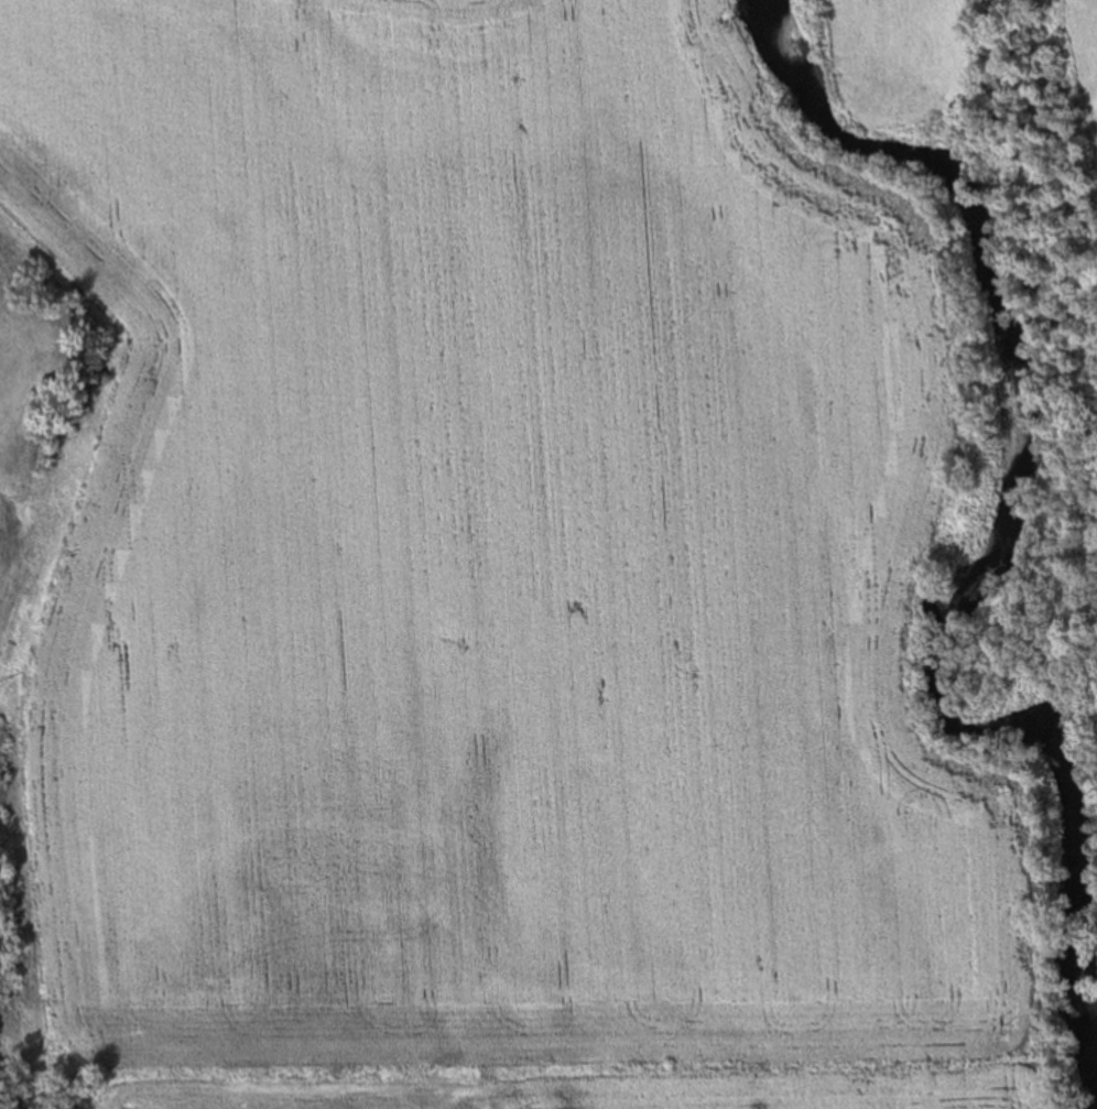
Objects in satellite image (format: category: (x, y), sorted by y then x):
river: (441, 146)
river: (1000, 416)

